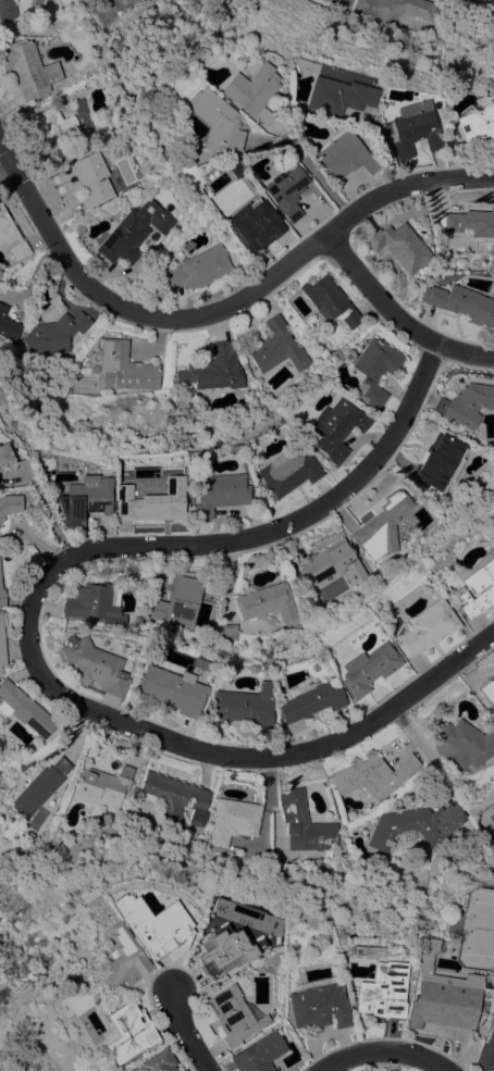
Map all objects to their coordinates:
building: (324, 0)
road: (338, 0)
building: (396, 8)
building: (7, 9)
building: (380, 23)
building: (28, 69)
building: (248, 91)
building: (335, 96)
building: (478, 123)
building: (211, 124)
building: (415, 127)
building: (51, 130)
building: (345, 155)
road: (4, 167)
building: (86, 177)
road: (312, 177)
building: (285, 191)
road: (402, 191)
building: (255, 223)
building: (467, 227)
building: (134, 232)
building: (12, 235)
building: (399, 246)
building: (197, 269)
building: (330, 300)
building: (461, 303)
road: (129, 310)
road: (394, 317)
building: (8, 326)
building: (53, 333)
building: (277, 348)
building: (121, 366)
building: (214, 369)
building: (374, 370)
building: (466, 403)
building: (337, 427)
building: (3, 456)
building: (439, 461)
building: (289, 470)
building: (220, 494)
building: (83, 500)
building: (155, 502)
building: (9, 503)
building: (0, 519)
building: (382, 525)
building: (332, 563)
building: (477, 588)
building: (1, 597)
building: (180, 601)
building: (267, 602)
building: (94, 603)
building: (297, 626)
building: (425, 627)
building: (229, 631)
road: (28, 644)
building: (1, 648)
building: (94, 665)
building: (368, 669)
building: (170, 690)
building: (487, 692)
building: (309, 703)
building: (242, 708)
building: (24, 709)
building: (467, 744)
building: (373, 775)
building: (39, 787)
building: (101, 788)
building: (493, 789)
building: (175, 798)
building: (234, 820)
building: (305, 824)
building: (415, 825)
building: (155, 924)
building: (123, 959)
building: (215, 960)
building: (382, 991)
building: (441, 994)
building: (318, 1006)
building: (234, 1016)
building: (128, 1032)
road: (186, 1032)
building: (485, 1046)
road: (376, 1050)
building: (259, 1053)
building: (158, 1061)
building: (184, 1070)

